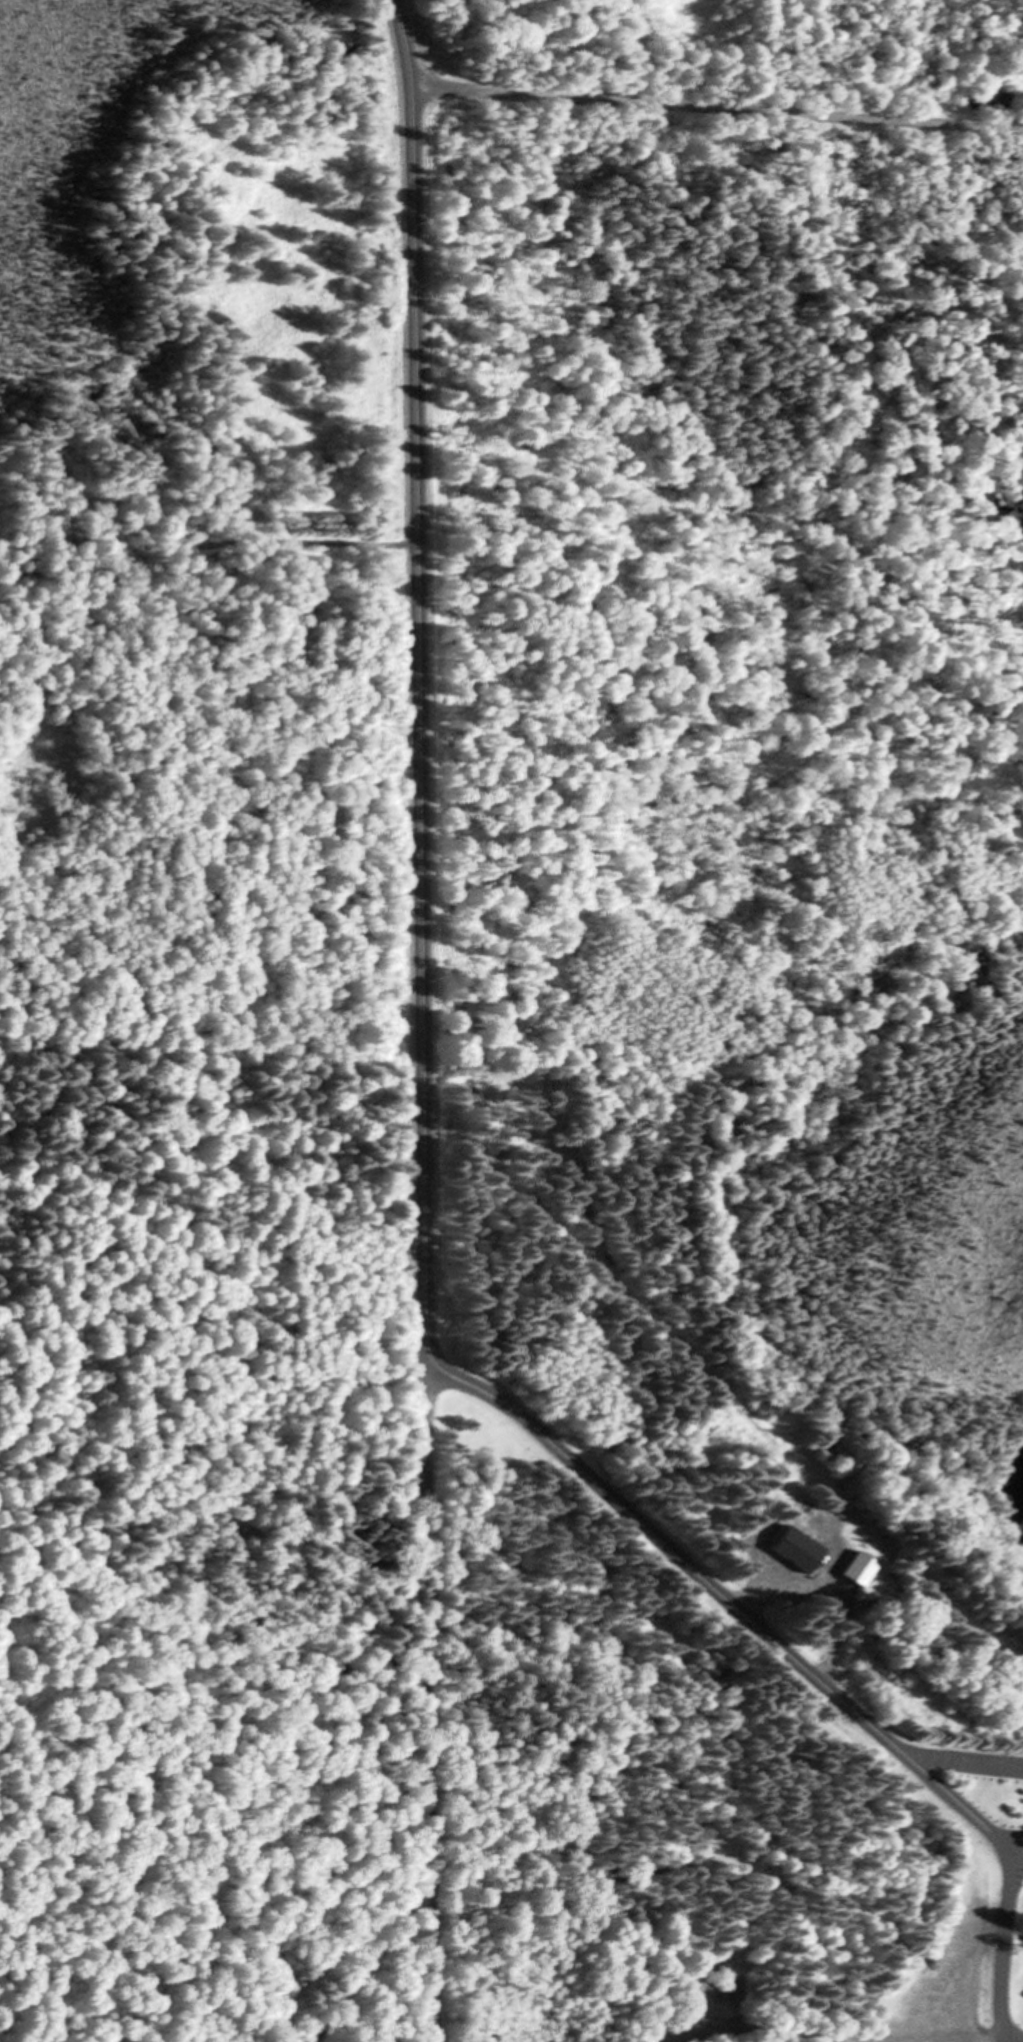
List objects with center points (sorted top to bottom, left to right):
road: (404, 42)
road: (717, 105)
road: (207, 543)
road: (418, 724)
park: (726, 1545)
building: (853, 1566)
road: (819, 1602)
road: (794, 1659)
road: (427, 1702)
road: (963, 1762)
road: (1016, 1856)
road: (962, 2037)
road: (1013, 2039)

